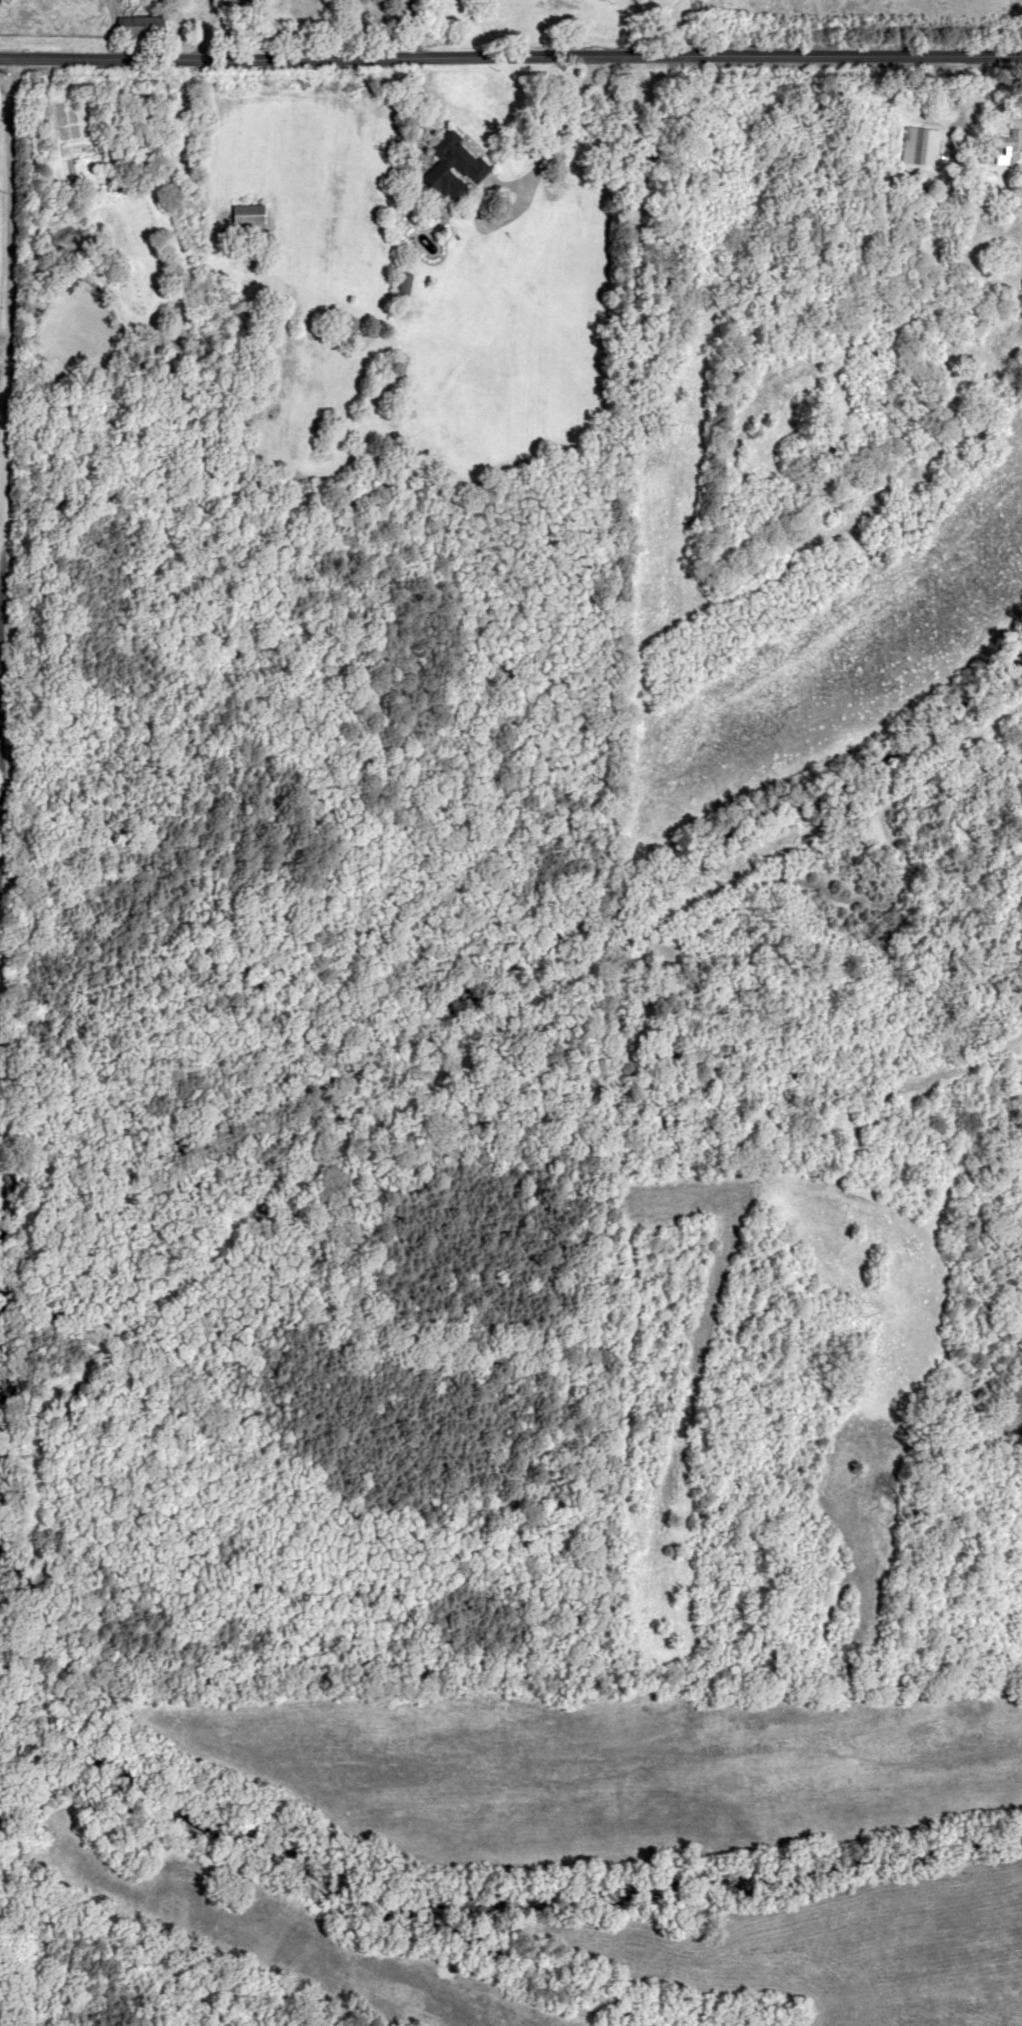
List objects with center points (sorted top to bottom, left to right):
building: (140, 26)
road: (511, 54)
building: (925, 145)
building: (1010, 146)
building: (455, 166)
building: (247, 214)
road: (3, 278)
building: (404, 283)

